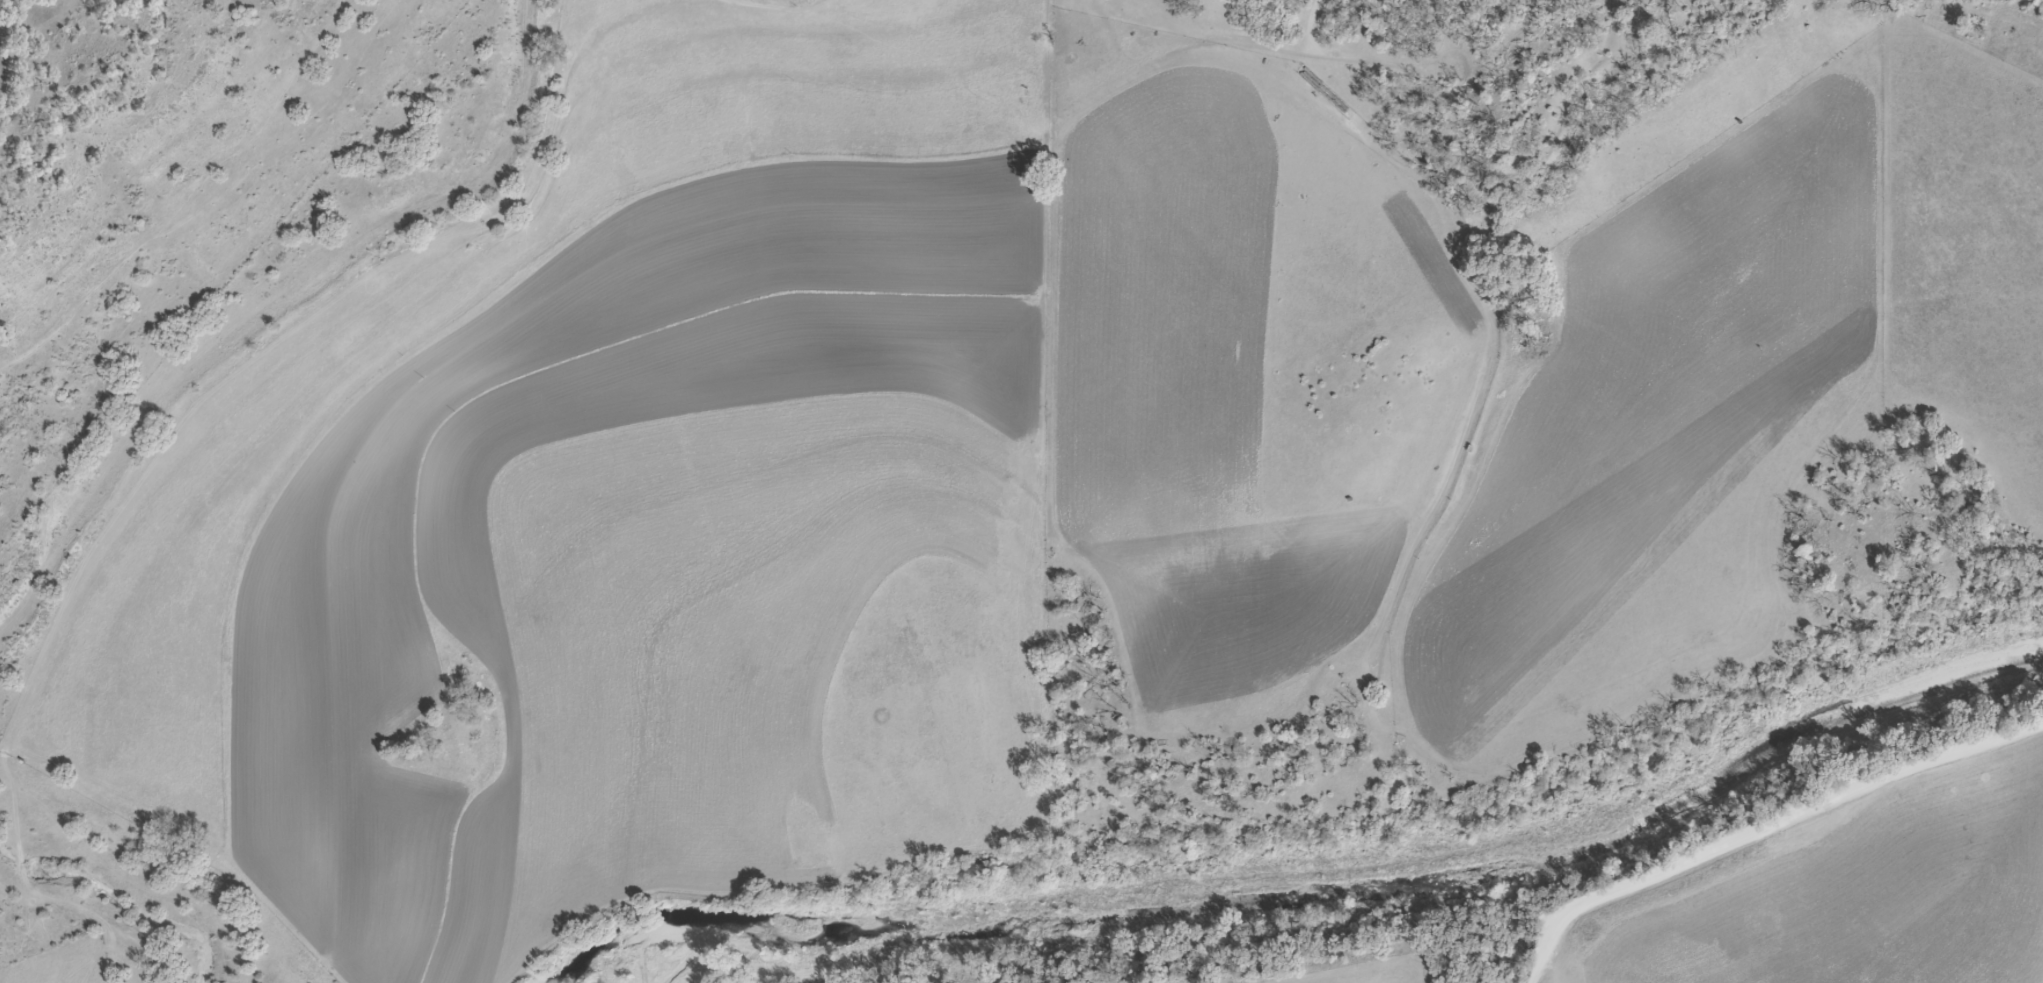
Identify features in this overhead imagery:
road: (1759, 810)

